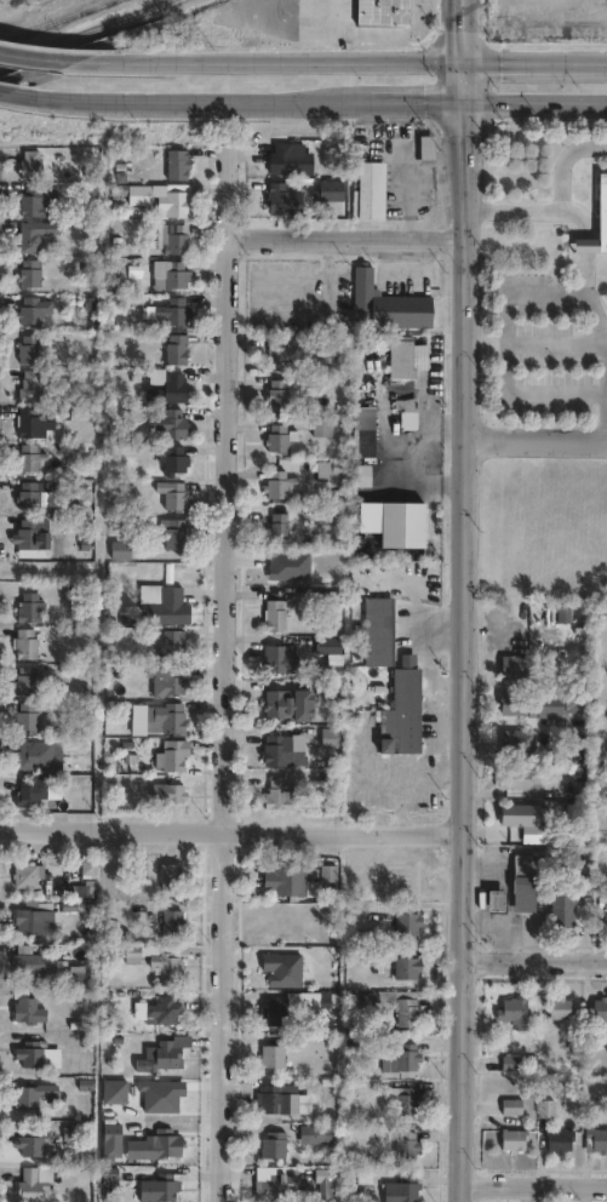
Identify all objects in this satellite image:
building: (606, 0)
building: (382, 10)
railway: (58, 21)
railway: (88, 32)
road: (464, 33)
road: (372, 36)
road: (42, 56)
road: (275, 63)
road: (536, 64)
traffic signals: (464, 65)
road: (464, 81)
road: (2, 90)
road: (234, 98)
traffic signals: (464, 98)
road: (536, 98)
building: (291, 155)
building: (176, 160)
road: (561, 160)
building: (29, 161)
road: (410, 179)
building: (332, 185)
building: (371, 187)
road: (225, 189)
building: (141, 190)
building: (284, 195)
building: (36, 196)
building: (174, 196)
road: (533, 210)
building: (601, 211)
building: (33, 230)
building: (171, 234)
road: (343, 235)
building: (585, 245)
road: (585, 245)
building: (170, 269)
road: (462, 269)
building: (29, 270)
building: (386, 302)
building: (32, 307)
building: (170, 308)
road: (606, 344)
building: (176, 345)
building: (28, 347)
road: (505, 351)
building: (279, 353)
building: (401, 356)
building: (29, 383)
building: (173, 384)
building: (277, 388)
building: (407, 408)
building: (33, 420)
building: (171, 420)
building: (322, 424)
road: (442, 425)
building: (363, 429)
road: (424, 430)
building: (280, 436)
road: (533, 441)
building: (28, 457)
building: (171, 457)
building: (330, 469)
building: (279, 482)
building: (172, 493)
building: (27, 494)
building: (402, 523)
building: (279, 526)
building: (173, 531)
building: (30, 537)
building: (29, 603)
building: (166, 603)
building: (275, 614)
building: (378, 630)
building: (24, 640)
building: (172, 641)
building: (323, 643)
building: (277, 658)
building: (516, 660)
building: (171, 676)
building: (24, 677)
building: (521, 698)
building: (288, 704)
building: (402, 711)
building: (27, 714)
building: (167, 714)
road: (222, 719)
road: (428, 731)
building: (520, 734)
building: (328, 738)
building: (284, 750)
building: (33, 751)
building: (171, 751)
building: (519, 772)
road: (402, 774)
building: (583, 784)
building: (30, 788)
building: (166, 789)
building: (281, 796)
building: (521, 808)
road: (459, 820)
building: (566, 828)
road: (229, 831)
building: (88, 869)
road: (509, 870)
building: (328, 871)
building: (27, 875)
building: (171, 876)
building: (286, 878)
building: (523, 880)
building: (87, 888)
road: (481, 895)
building: (496, 899)
gas station: (496, 899)
building: (571, 909)
building: (385, 910)
building: (33, 917)
building: (407, 921)
building: (173, 922)
road: (510, 927)
road: (498, 944)
building: (131, 954)
building: (30, 961)
building: (399, 961)
road: (533, 961)
building: (166, 965)
building: (92, 968)
building: (75, 974)
building: (309, 998)
building: (408, 1007)
building: (561, 1007)
building: (601, 1007)
building: (27, 1008)
building: (164, 1009)
building: (274, 1009)
building: (515, 1011)
building: (30, 1053)
building: (168, 1054)
building: (271, 1054)
building: (401, 1057)
building: (514, 1060)
building: (33, 1095)
building: (168, 1097)
building: (282, 1098)
building: (405, 1098)
building: (512, 1105)
building: (546, 1105)
building: (515, 1132)
building: (111, 1133)
building: (315, 1133)
building: (594, 1134)
building: (561, 1138)
building: (32, 1141)
building: (274, 1144)
building: (407, 1144)
building: (155, 1145)
building: (325, 1181)
building: (34, 1183)
road: (532, 1185)
building: (162, 1187)
building: (273, 1187)
building: (402, 1189)

